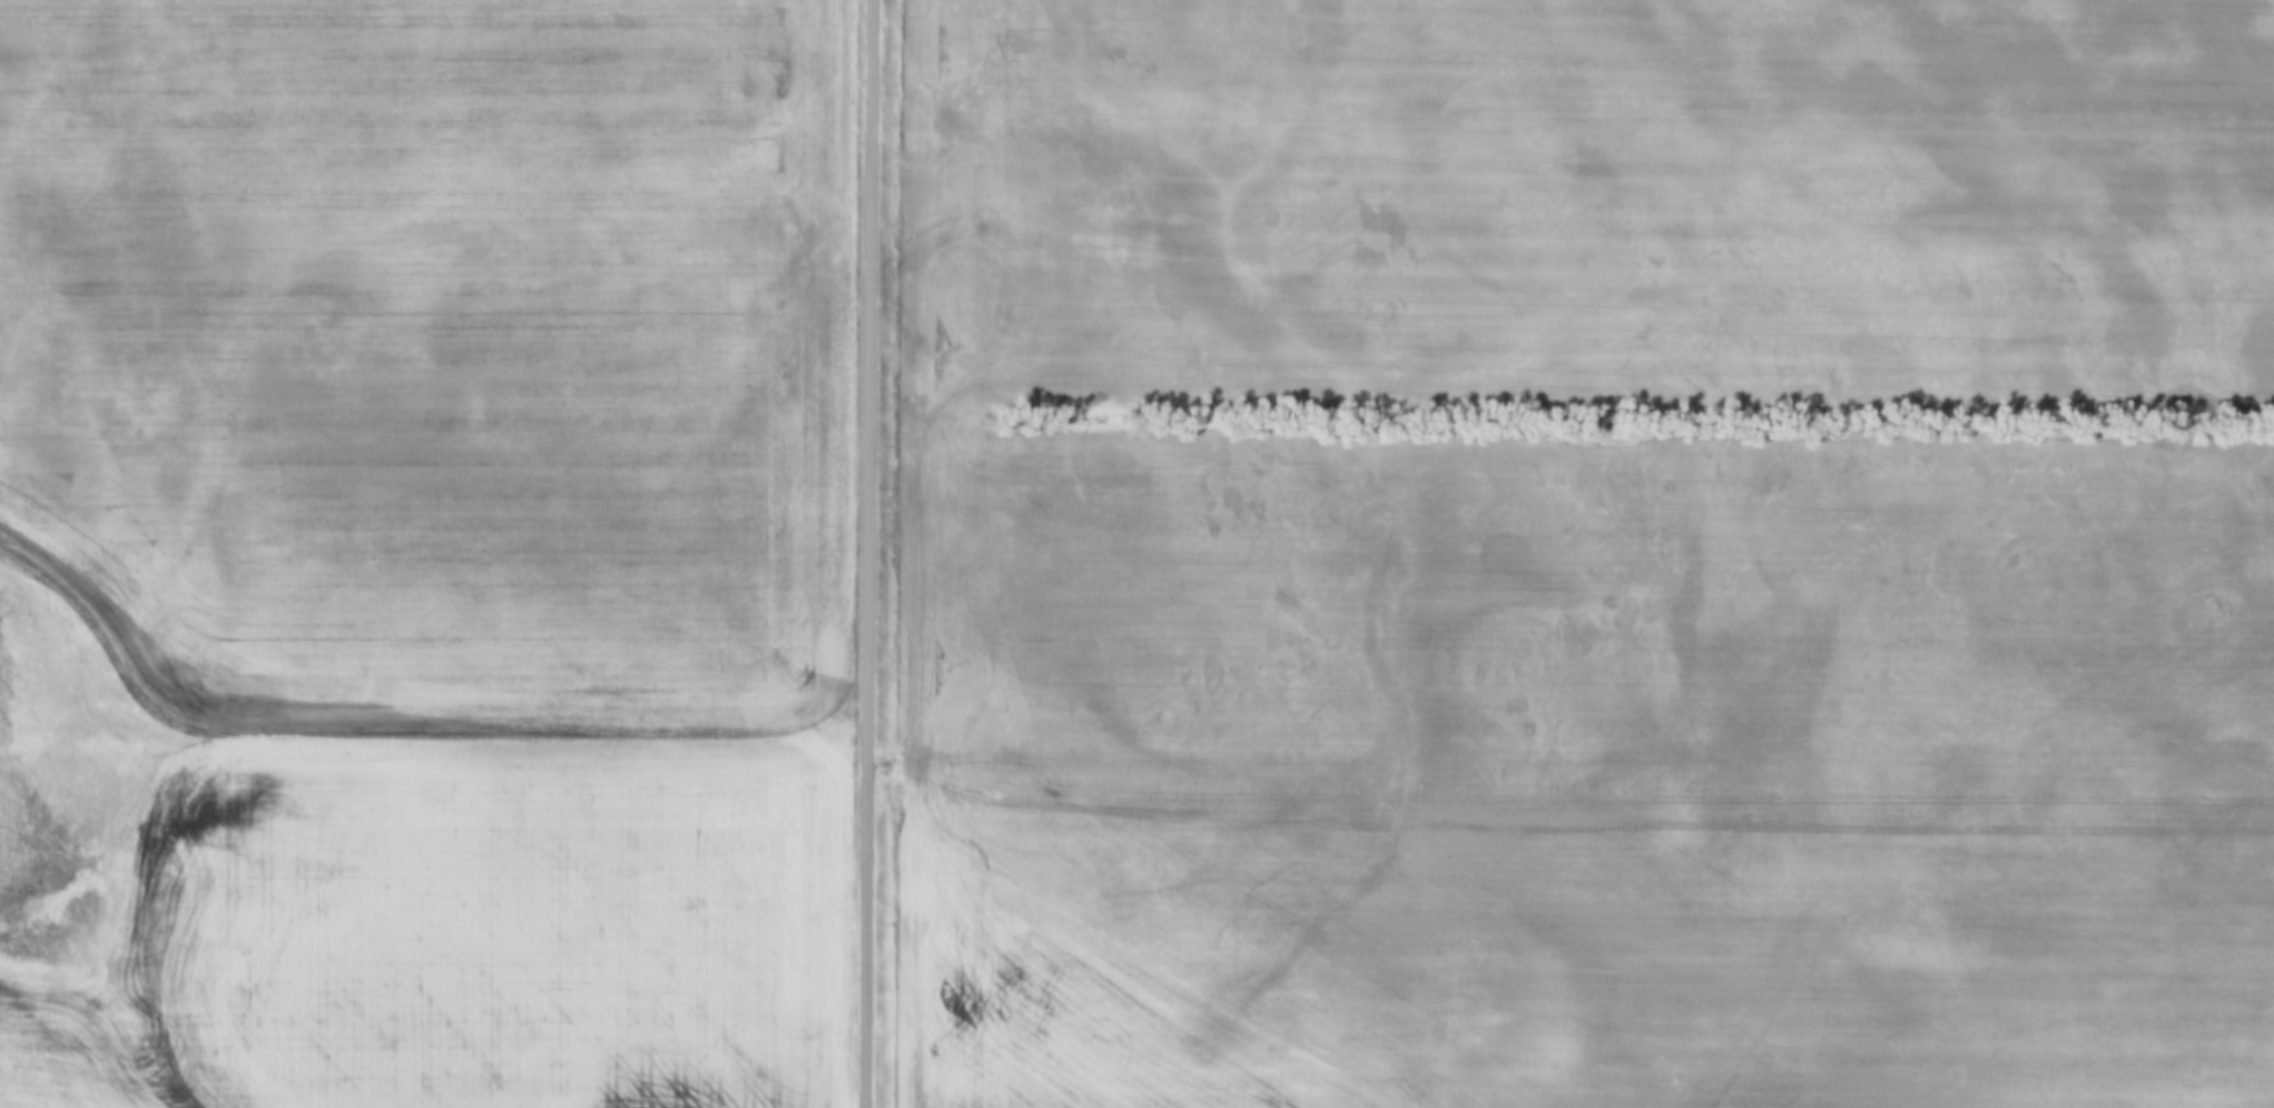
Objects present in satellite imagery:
road: (866, 553)

